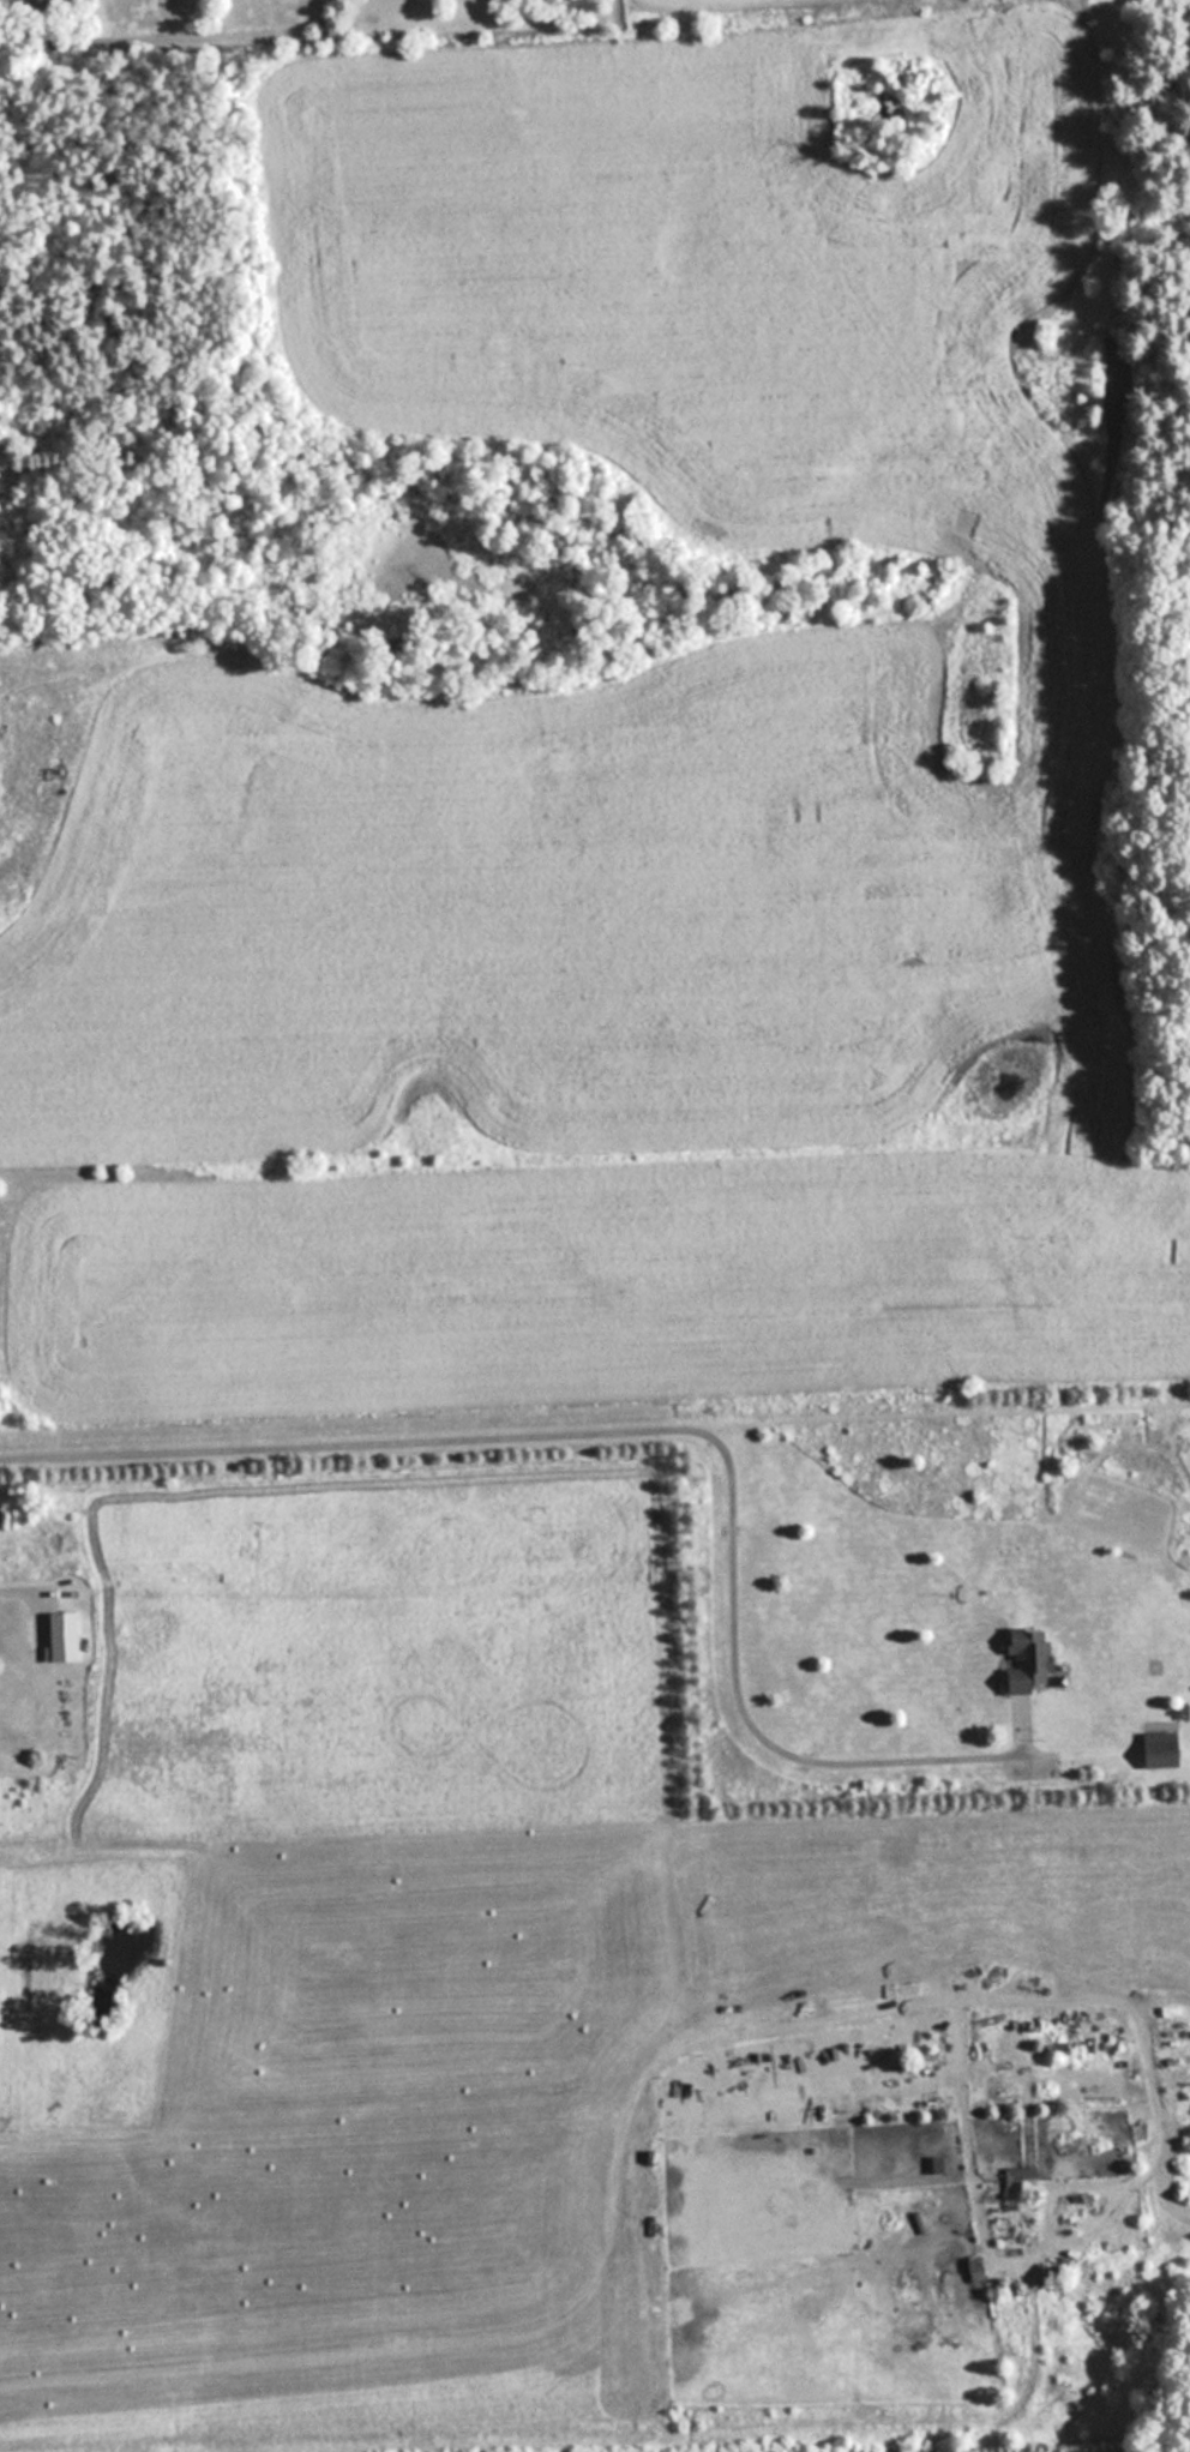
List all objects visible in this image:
road: (629, 1419)
building: (1033, 1661)
building: (1165, 1748)
building: (1021, 2184)
building: (994, 2228)
building: (979, 2267)

